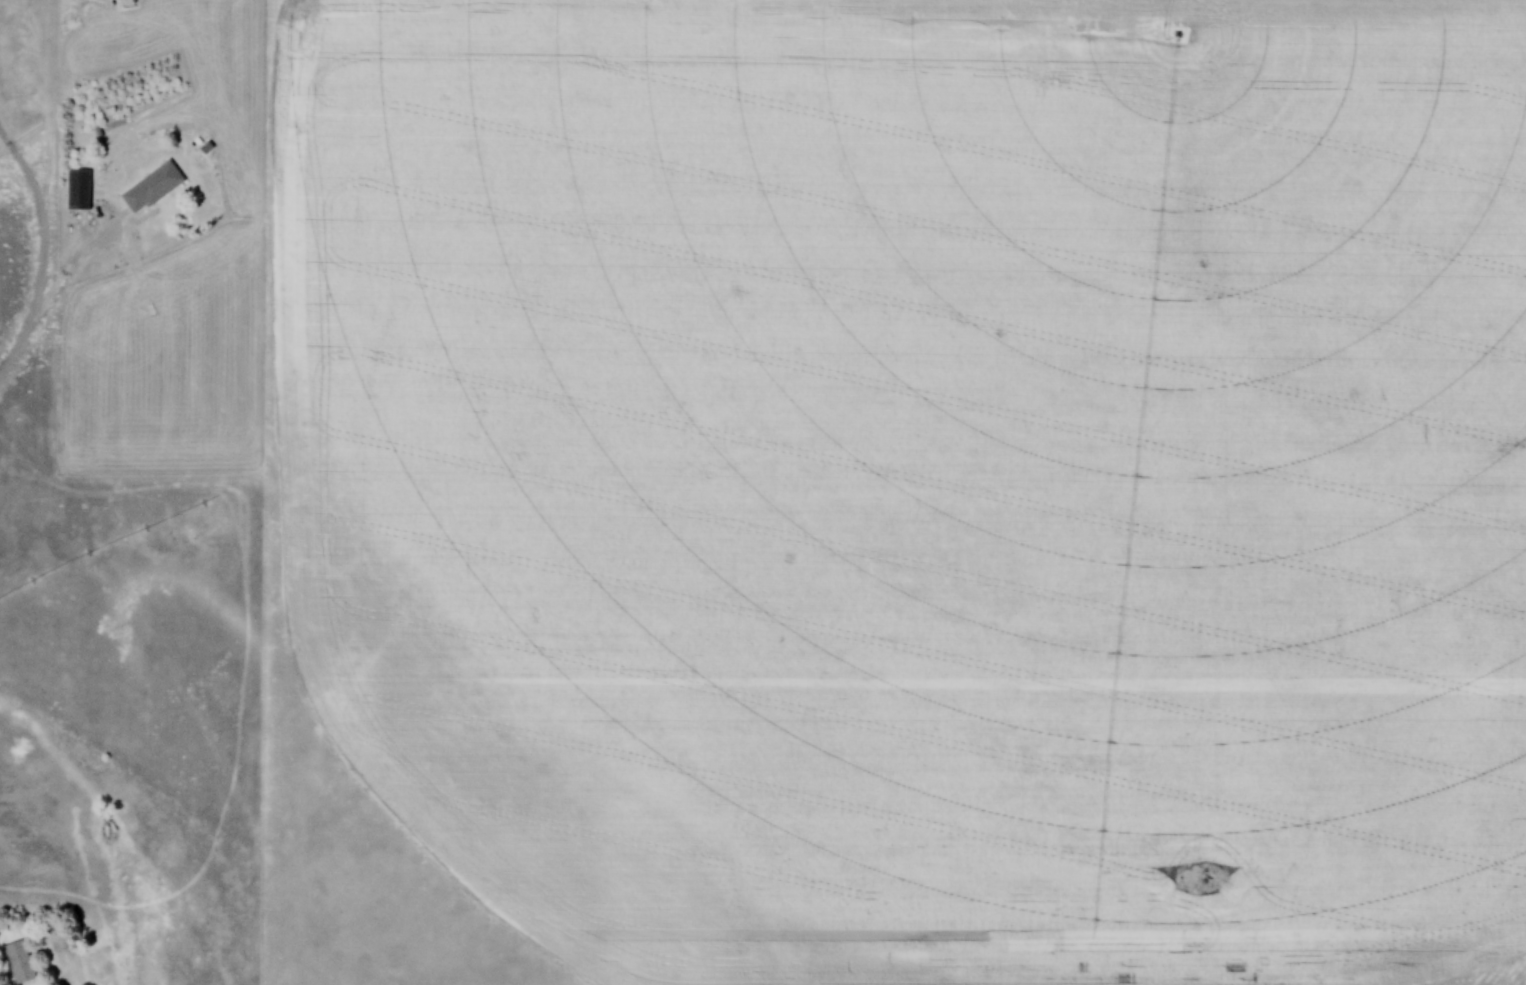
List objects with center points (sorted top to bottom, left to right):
building: (152, 187)
building: (78, 189)
road: (34, 256)
building: (21, 962)

